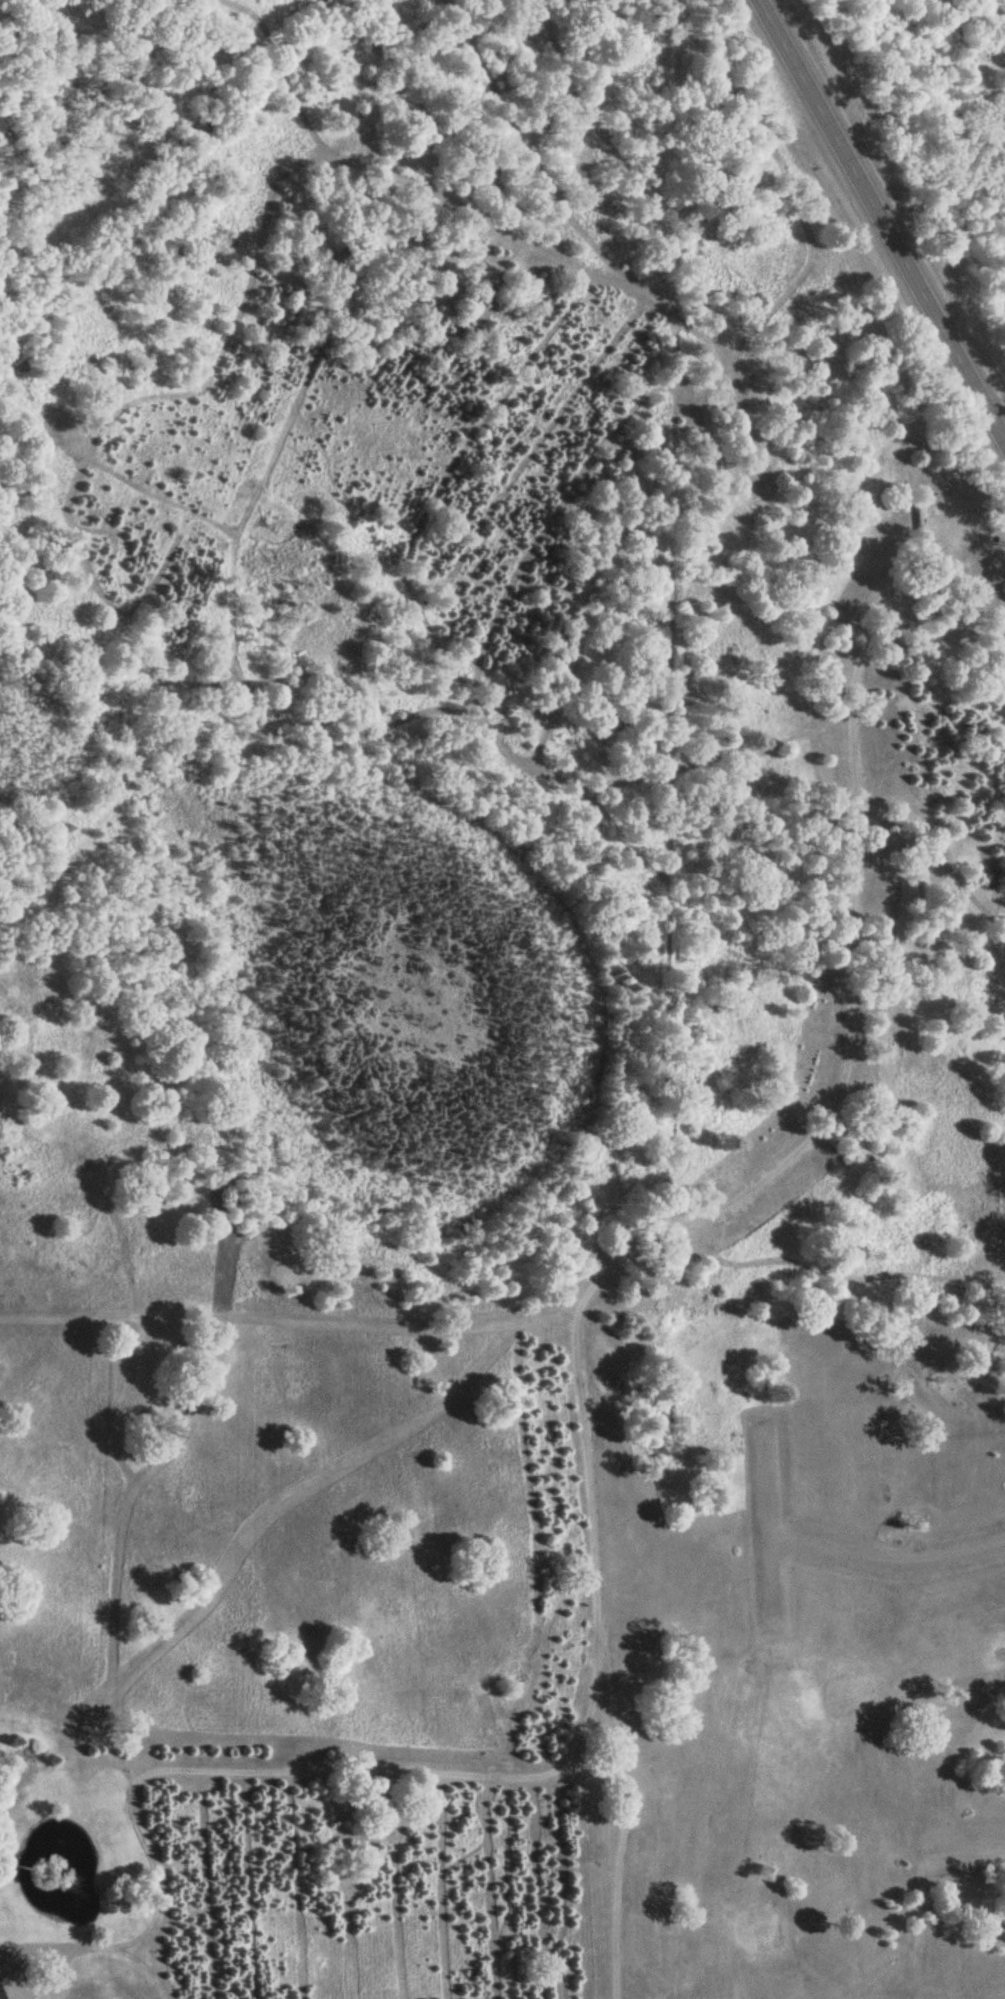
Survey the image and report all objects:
road: (883, 218)
road: (578, 1372)
road: (838, 1552)
road: (771, 1580)
park: (809, 1809)
road: (967, 1850)
road: (616, 1912)
road: (142, 1971)
building: (1, 1992)

